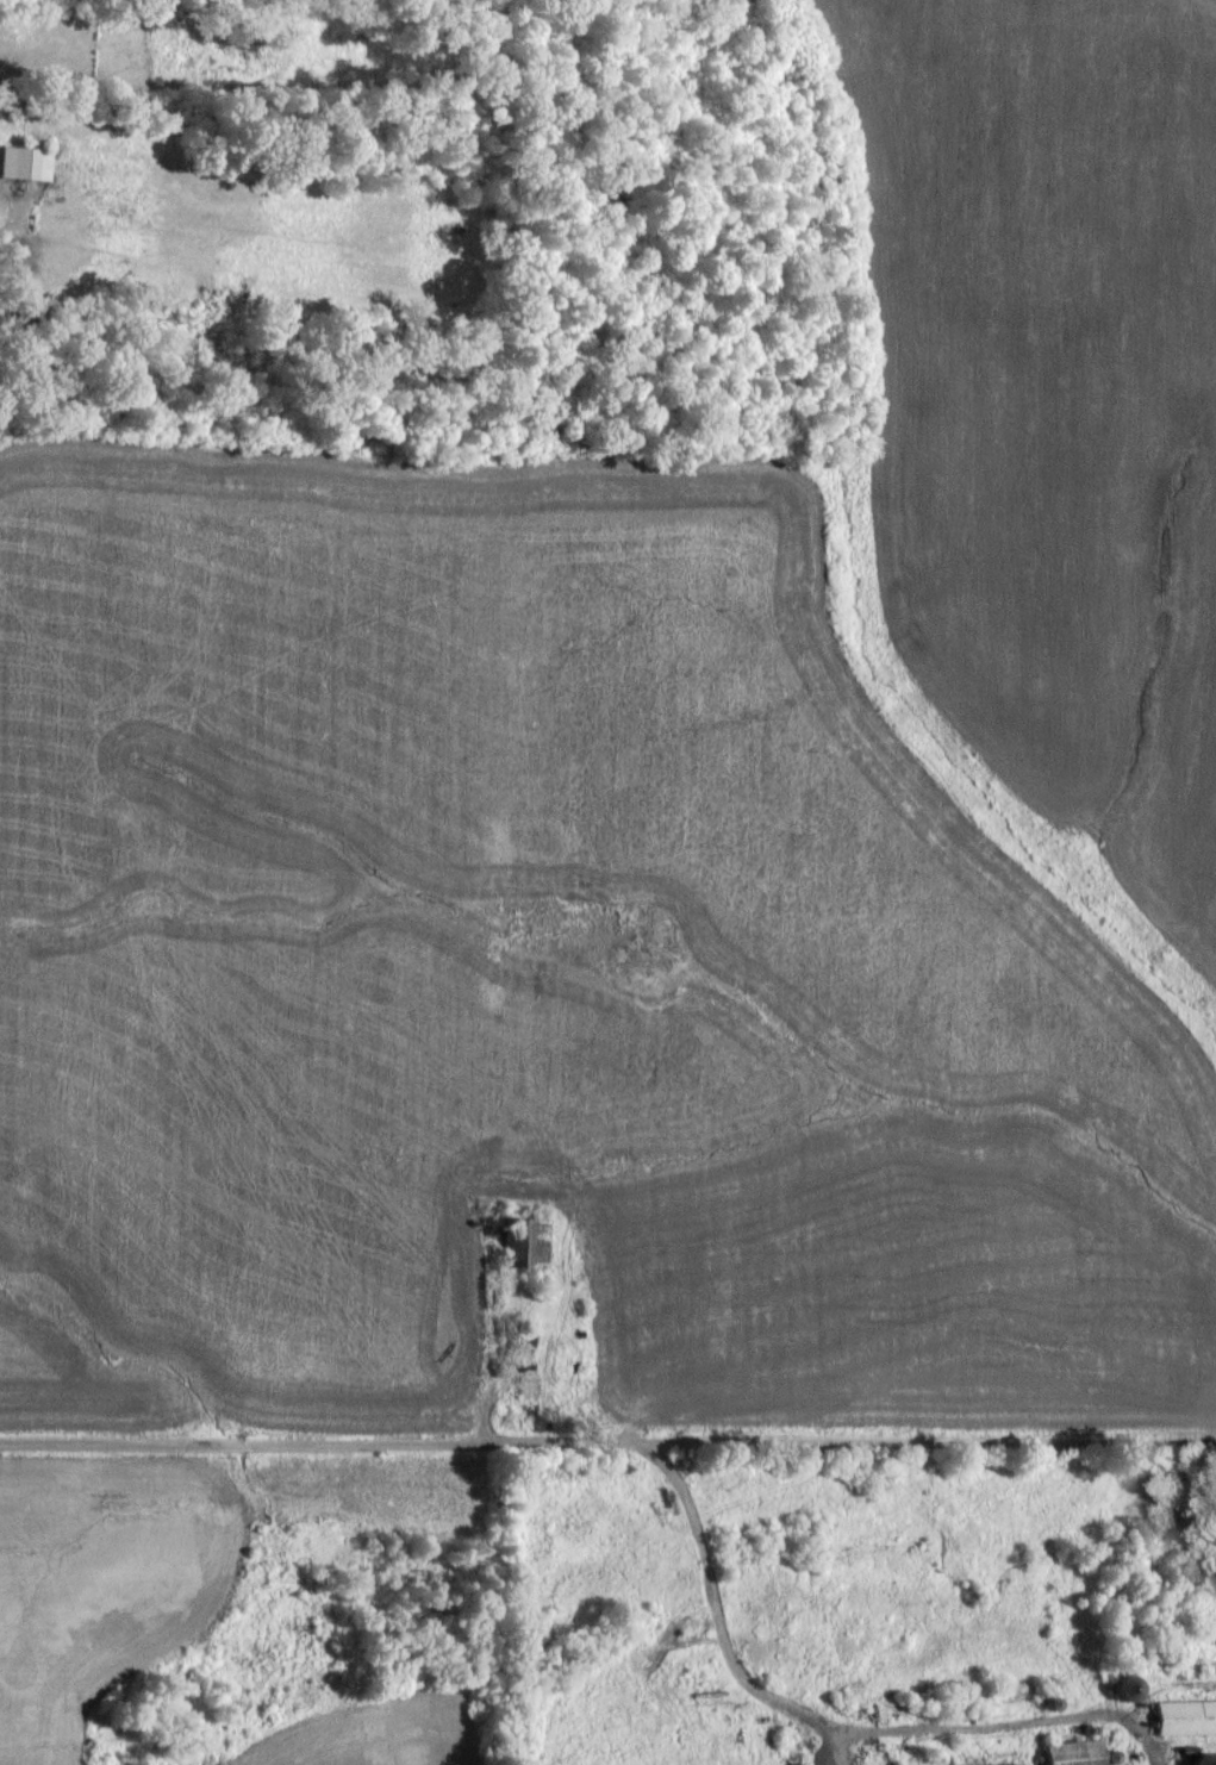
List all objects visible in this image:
building: (25, 161)
building: (529, 1241)
road: (607, 1440)
road: (717, 1623)
building: (1073, 1752)
building: (1204, 1759)
building: (1006, 1764)

